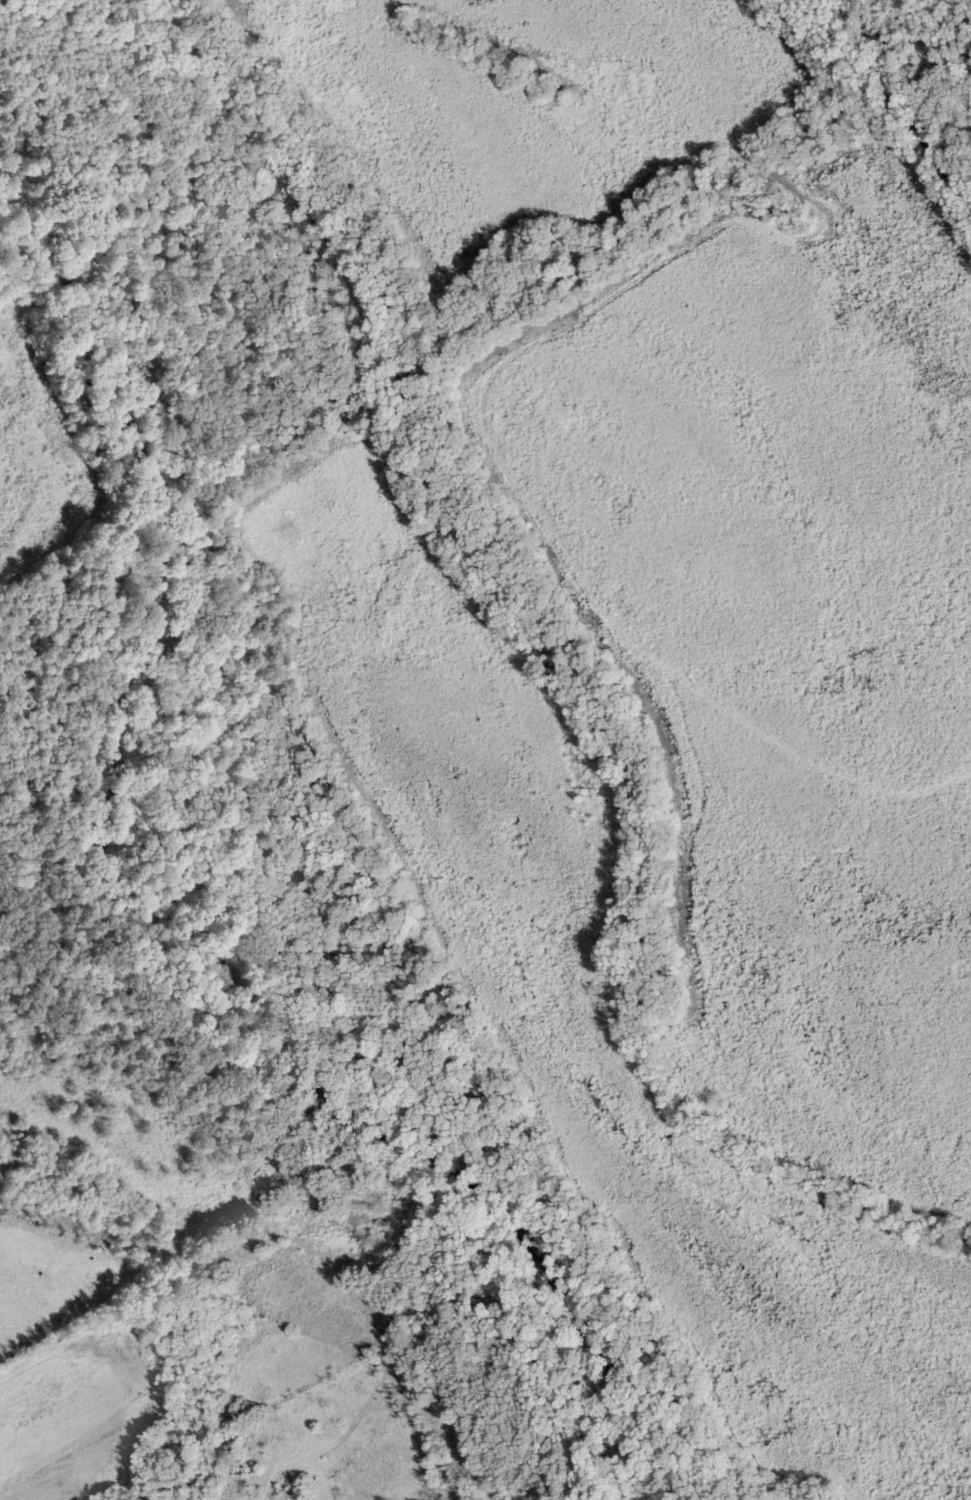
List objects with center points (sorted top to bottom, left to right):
road: (239, 1481)

